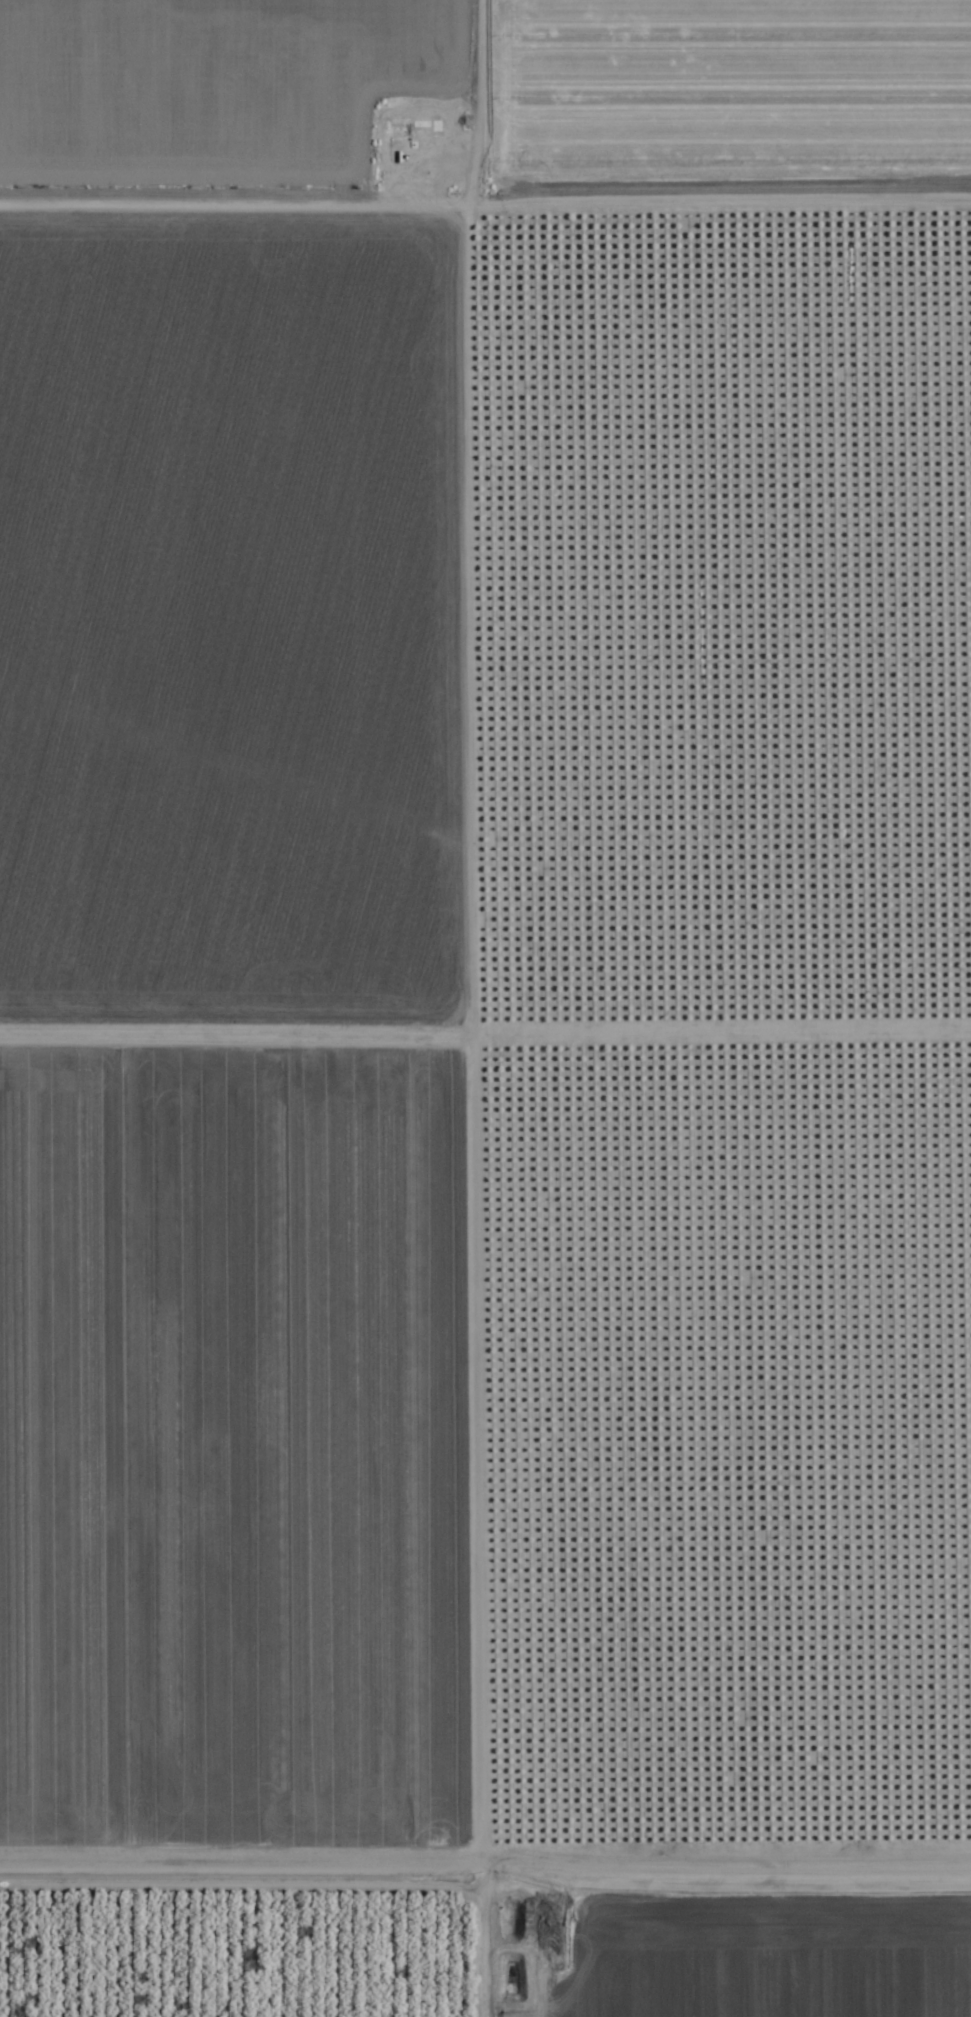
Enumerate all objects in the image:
road: (727, 204)
crop: (309, 1007)
road: (485, 1854)
wastewater plant: (532, 1920)
road: (450, 1936)

